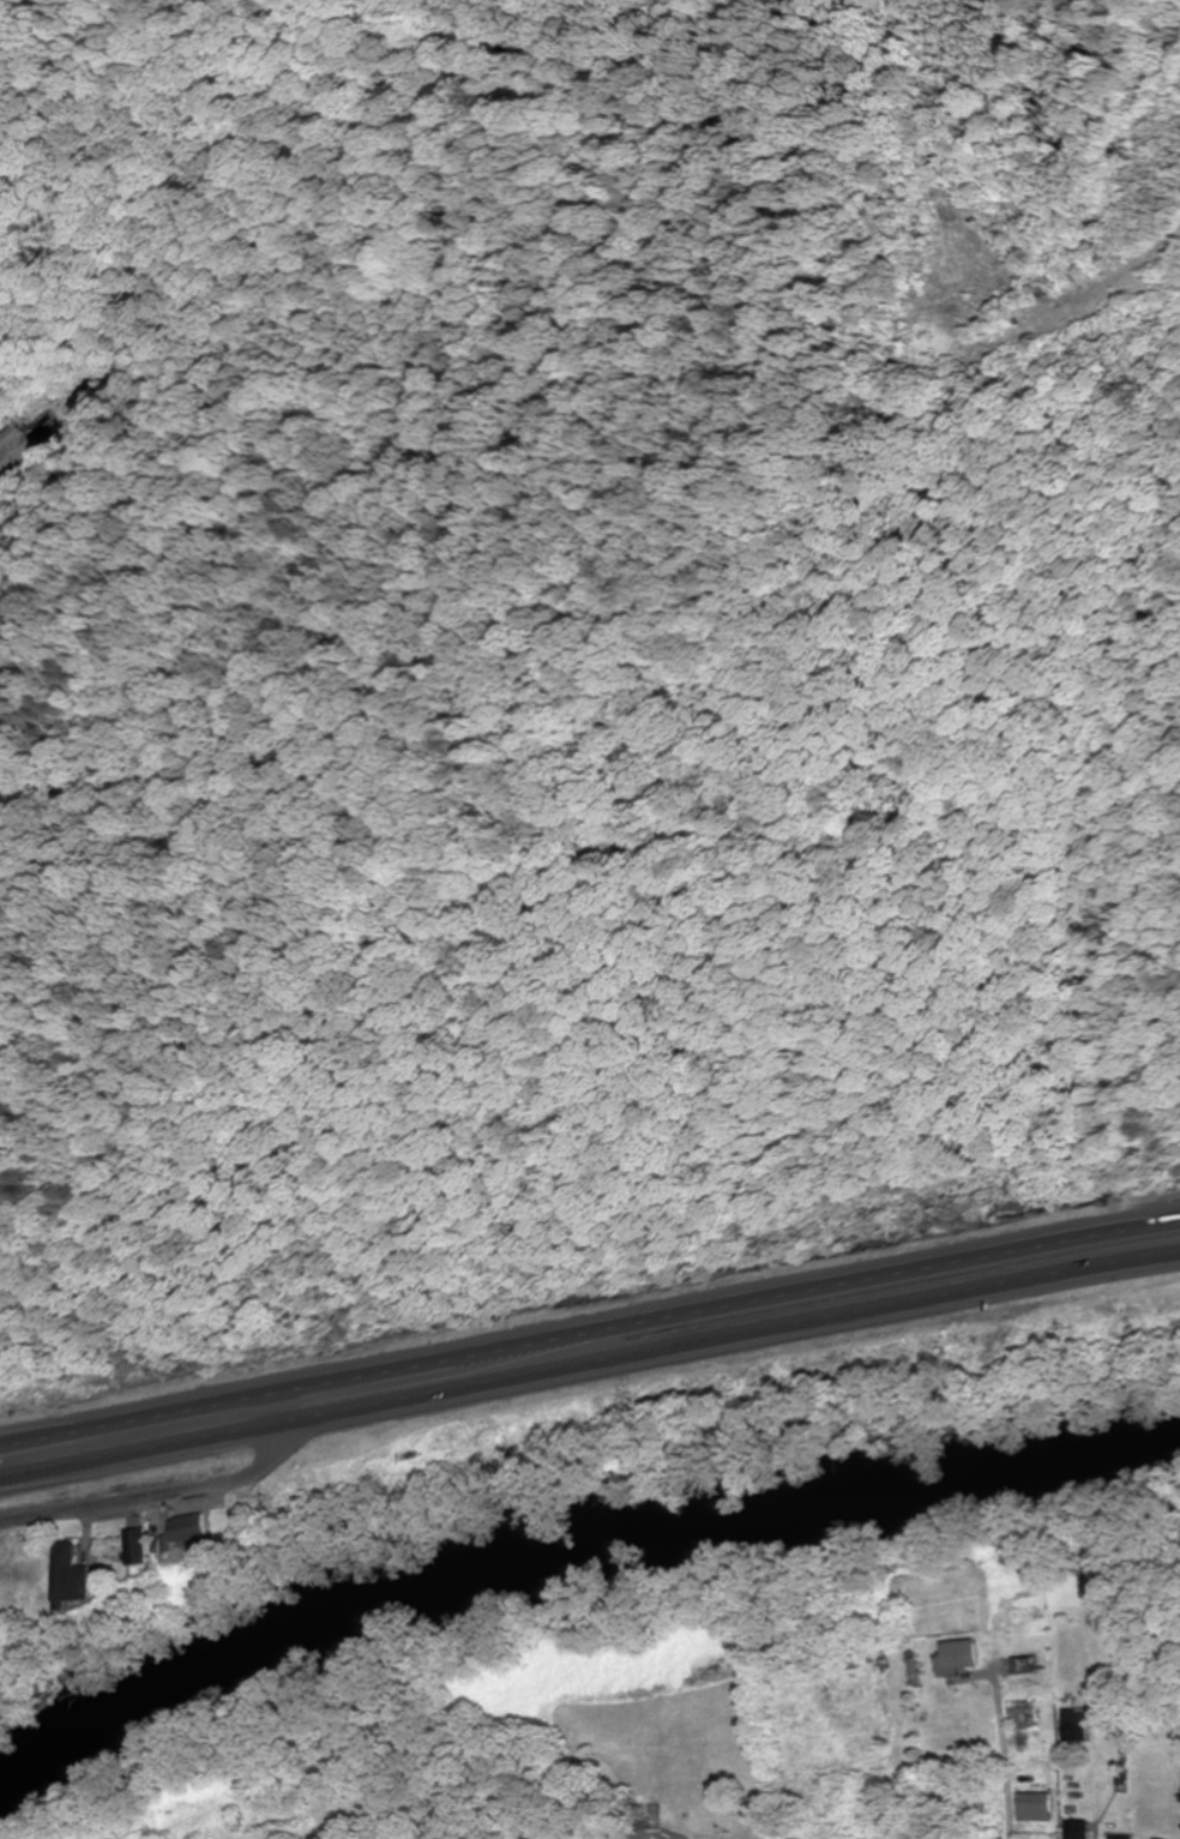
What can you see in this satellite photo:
building: (13, 453)
road: (589, 1327)
road: (589, 1368)
road: (181, 1500)
building: (183, 1532)
building: (133, 1545)
river: (571, 1555)
building: (66, 1574)
building: (957, 1655)
building: (1028, 1670)
building: (1076, 1725)
road: (1012, 1745)
building: (1035, 1804)
building: (976, 1807)
building: (1078, 1829)

